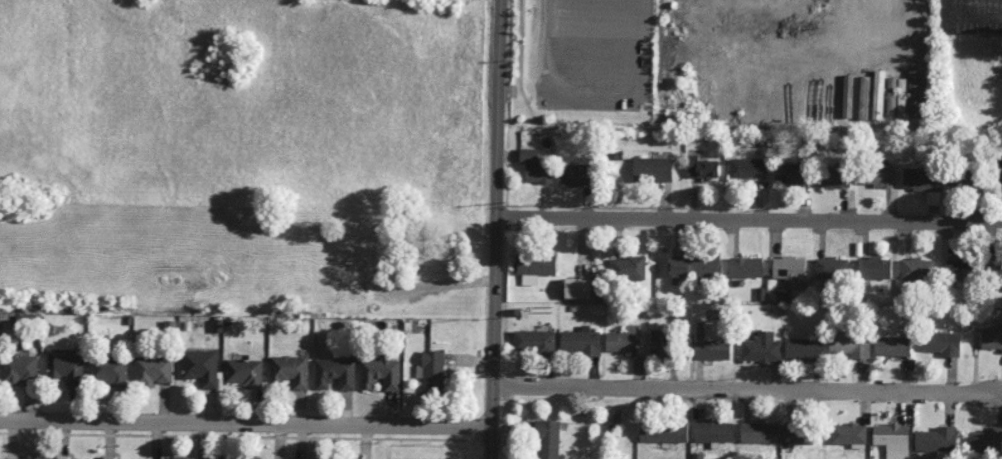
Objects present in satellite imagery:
building: (886, 4)
road: (543, 64)
building: (913, 92)
building: (878, 94)
building: (896, 96)
building: (863, 97)
building: (841, 101)
building: (535, 166)
building: (747, 167)
building: (702, 168)
building: (652, 169)
building: (791, 173)
building: (575, 174)
building: (877, 174)
building: (833, 176)
building: (919, 178)
building: (932, 197)
road: (749, 218)
road: (495, 229)
building: (535, 266)
building: (695, 266)
building: (745, 267)
building: (874, 267)
building: (627, 268)
building: (831, 268)
building: (917, 269)
building: (959, 269)
building: (789, 270)
building: (995, 270)
road: (438, 283)
building: (578, 287)
building: (991, 339)
building: (625, 340)
building: (581, 341)
building: (534, 342)
building: (941, 343)
building: (660, 344)
building: (850, 344)
building: (892, 346)
building: (761, 348)
building: (712, 349)
building: (803, 349)
building: (66, 365)
building: (201, 366)
building: (17, 369)
building: (291, 370)
building: (152, 371)
building: (108, 372)
building: (244, 372)
building: (432, 372)
building: (335, 373)
building: (380, 373)
road: (744, 391)
road: (245, 422)
building: (663, 431)
building: (713, 431)
building: (759, 432)
building: (798, 434)
building: (849, 434)
building: (891, 436)
building: (548, 439)
building: (937, 439)
building: (986, 440)
building: (33, 456)
building: (179, 457)
building: (69, 458)
building: (103, 458)
building: (299, 458)

